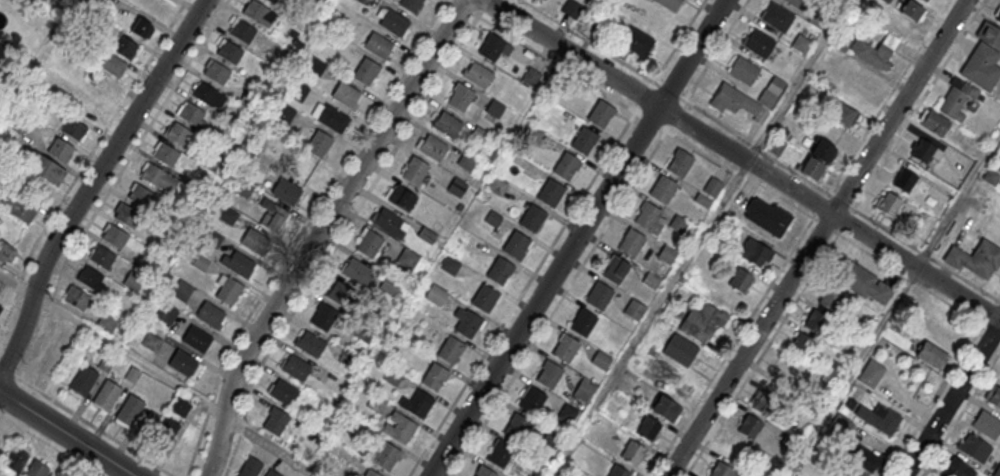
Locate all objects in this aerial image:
building: (886, 0)
building: (271, 1)
building: (925, 1)
building: (797, 3)
building: (7, 4)
building: (411, 4)
building: (669, 5)
building: (572, 8)
building: (912, 10)
building: (255, 12)
road: (473, 12)
building: (777, 19)
building: (998, 19)
building: (392, 21)
building: (141, 27)
building: (243, 32)
building: (989, 37)
building: (637, 42)
building: (759, 45)
building: (801, 45)
building: (125, 46)
building: (378, 46)
building: (491, 46)
road: (716, 51)
building: (878, 51)
building: (230, 52)
building: (113, 63)
building: (982, 69)
building: (366, 71)
building: (217, 73)
building: (743, 73)
building: (478, 76)
building: (531, 76)
road: (614, 80)
road: (799, 81)
building: (103, 89)
building: (204, 94)
road: (677, 94)
building: (346, 96)
building: (460, 96)
road: (889, 97)
building: (958, 100)
building: (737, 105)
road: (421, 106)
road: (898, 107)
building: (495, 108)
building: (842, 112)
building: (191, 114)
building: (601, 115)
building: (332, 118)
building: (934, 122)
building: (17, 125)
building: (447, 125)
building: (73, 128)
building: (179, 135)
building: (585, 142)
building: (319, 143)
road: (137, 145)
building: (60, 148)
building: (433, 149)
building: (925, 150)
building: (167, 155)
building: (816, 158)
building: (467, 161)
road: (84, 162)
building: (680, 162)
building: (45, 168)
building: (567, 168)
building: (414, 171)
road: (736, 172)
building: (154, 176)
building: (992, 176)
road: (872, 177)
building: (905, 177)
road: (92, 183)
building: (498, 185)
building: (457, 187)
building: (663, 188)
building: (286, 191)
building: (709, 191)
building: (551, 194)
building: (400, 196)
building: (141, 197)
road: (958, 202)
building: (888, 203)
road: (337, 204)
building: (19, 207)
building: (273, 215)
building: (648, 215)
building: (767, 216)
building: (128, 217)
building: (533, 219)
building: (389, 221)
building: (678, 224)
road: (301, 231)
road: (576, 237)
building: (115, 238)
building: (254, 240)
road: (872, 241)
building: (368, 242)
building: (632, 242)
building: (517, 246)
building: (6, 251)
building: (754, 251)
building: (666, 254)
building: (103, 258)
building: (407, 258)
building: (975, 258)
building: (238, 263)
building: (450, 264)
building: (616, 269)
building: (500, 271)
building: (357, 272)
building: (90, 277)
building: (741, 279)
building: (651, 280)
building: (134, 281)
building: (864, 283)
road: (17, 285)
building: (388, 285)
building: (181, 289)
building: (227, 289)
building: (436, 294)
road: (522, 294)
building: (599, 295)
building: (341, 296)
building: (77, 297)
building: (484, 297)
building: (829, 297)
building: (0, 305)
building: (634, 309)
building: (1, 310)
building: (166, 312)
building: (210, 314)
building: (323, 316)
building: (815, 320)
building: (108, 321)
building: (702, 321)
building: (466, 322)
building: (584, 322)
building: (659, 328)
building: (67, 335)
road: (38, 338)
building: (196, 338)
building: (151, 341)
building: (309, 343)
building: (801, 344)
road: (749, 345)
road: (731, 346)
building: (566, 347)
building: (450, 349)
road: (129, 354)
building: (932, 355)
building: (601, 359)
building: (52, 360)
building: (184, 363)
building: (296, 367)
road: (852, 372)
building: (550, 373)
building: (870, 374)
building: (434, 376)
building: (82, 380)
building: (584, 389)
building: (283, 392)
road: (9, 393)
building: (106, 394)
building: (993, 395)
road: (951, 398)
building: (531, 399)
building: (762, 401)
building: (419, 404)
building: (180, 406)
building: (666, 408)
building: (129, 410)
building: (568, 412)
building: (878, 418)
road: (86, 421)
building: (276, 421)
building: (841, 424)
building: (986, 424)
building: (750, 426)
building: (399, 427)
building: (517, 427)
building: (647, 427)
building: (356, 428)
building: (165, 429)
road: (66, 432)
road: (49, 444)
road: (272, 445)
road: (218, 446)
building: (973, 447)
building: (735, 449)
building: (632, 452)
building: (501, 453)
building: (386, 455)
building: (864, 457)
building: (16, 458)
building: (249, 467)
building: (957, 468)
building: (36, 469)
building: (722, 470)
building: (485, 471)
building: (618, 471)
building: (849, 471)
building: (997, 471)
building: (272, 473)
building: (370, 473)

